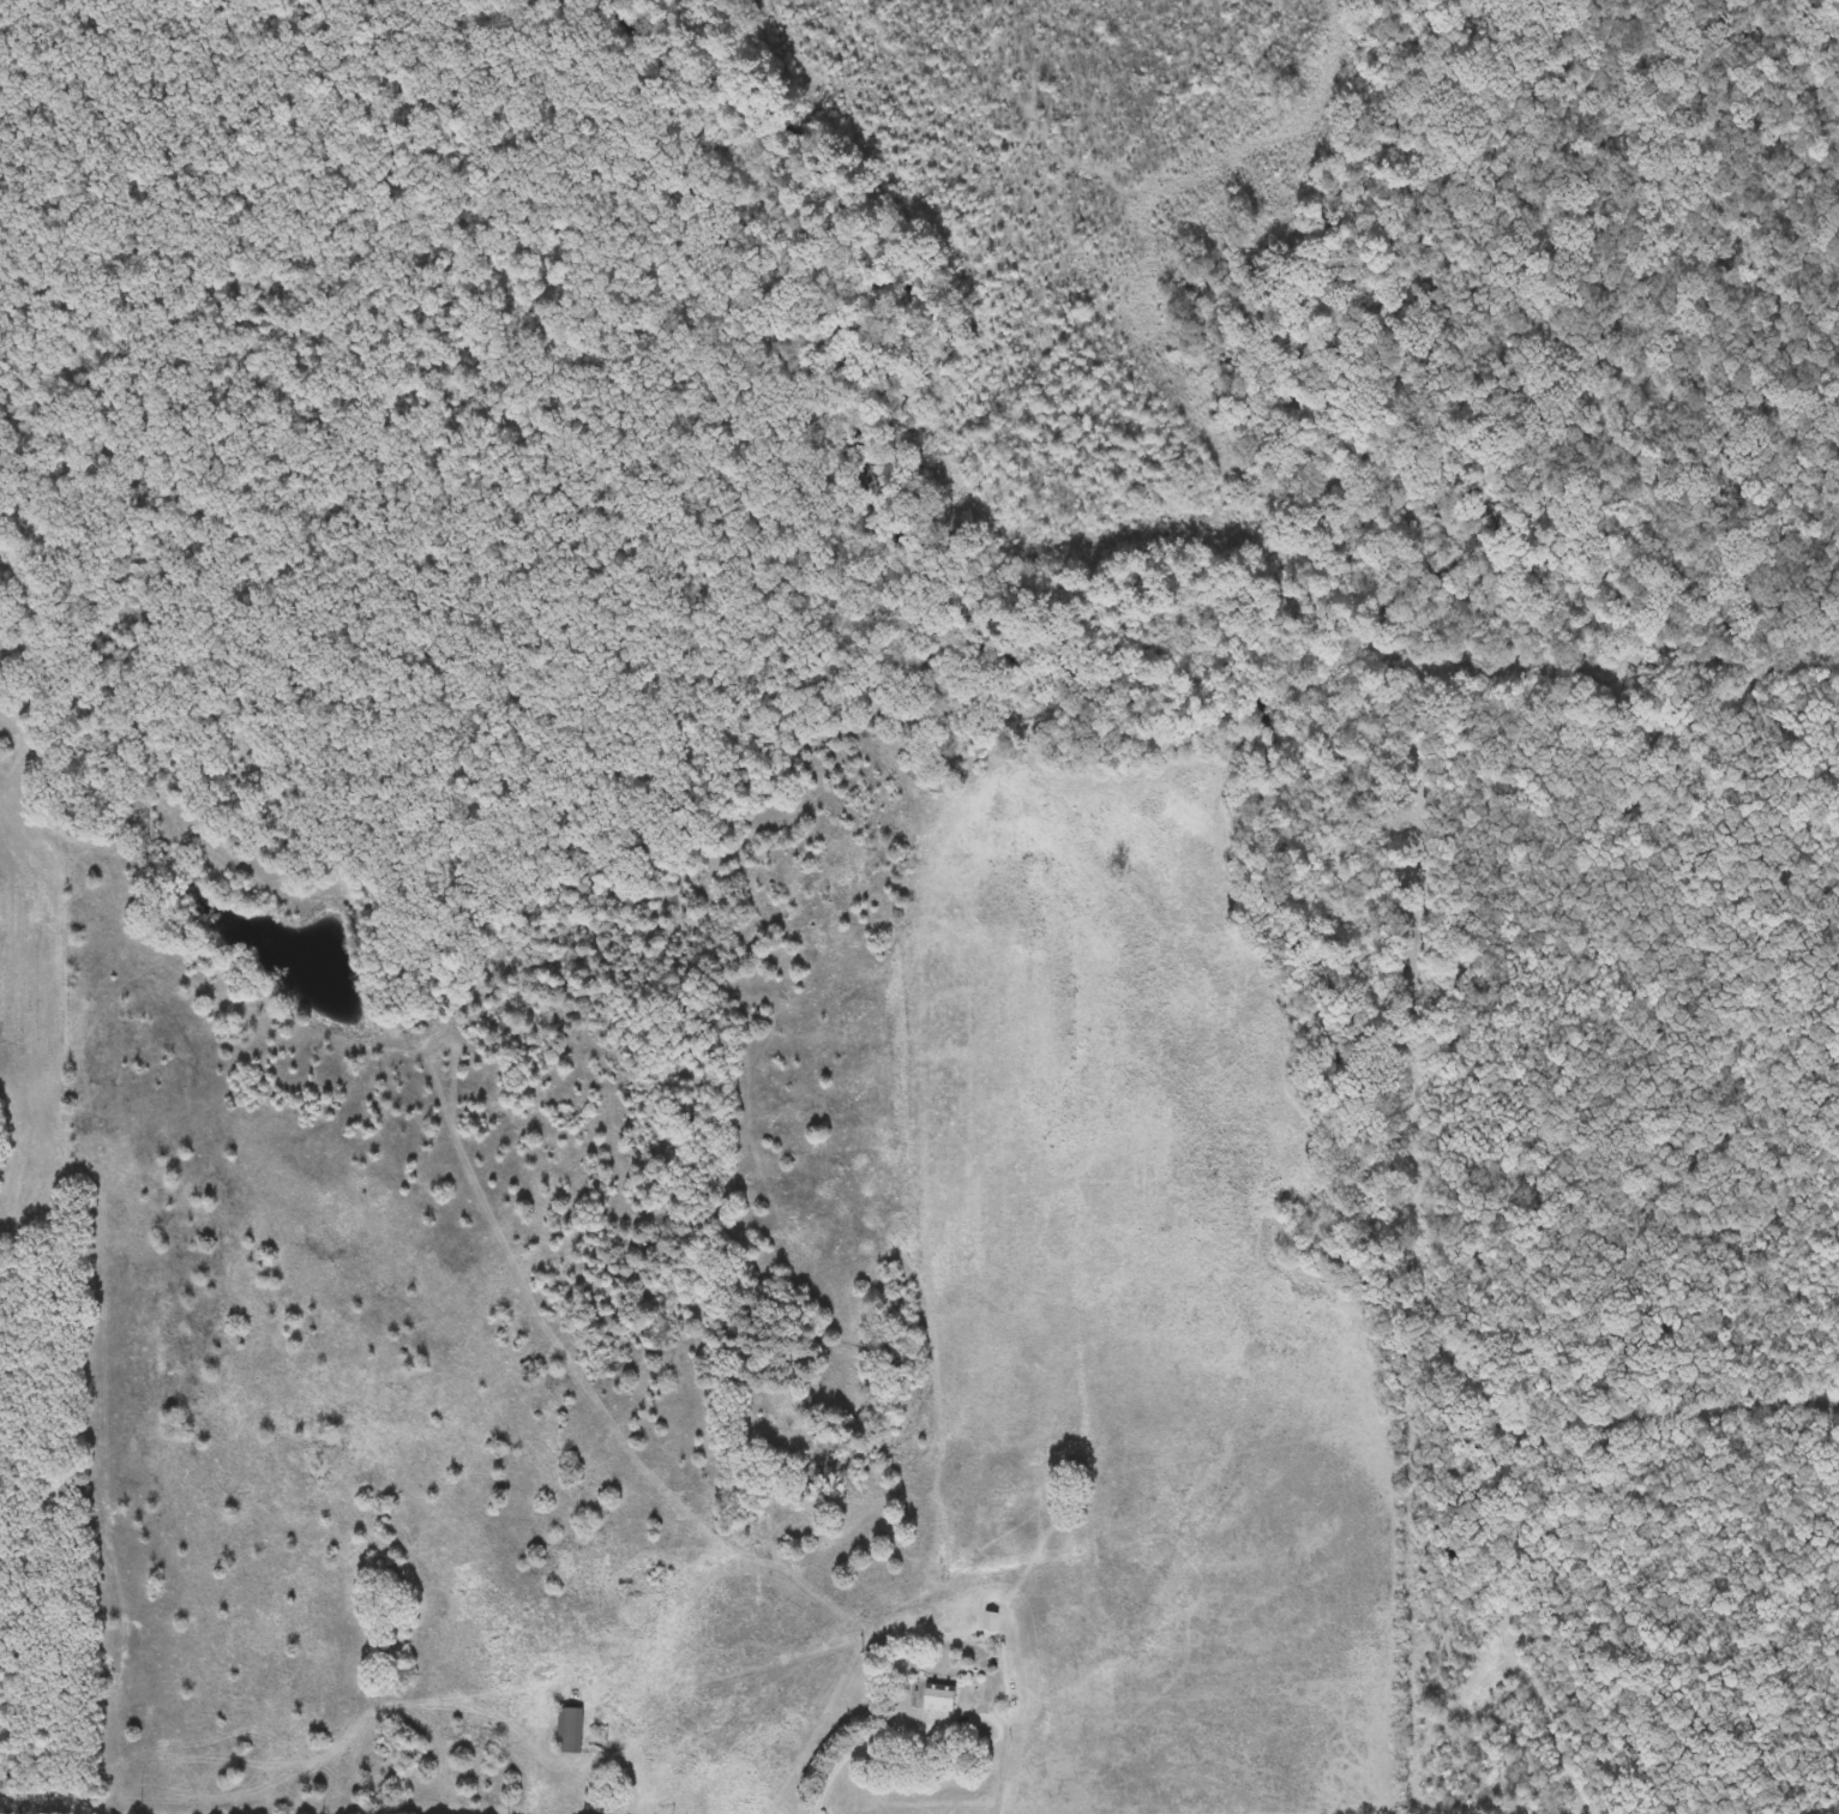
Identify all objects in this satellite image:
building: (992, 1621)
building: (940, 1698)
road: (985, 1718)
building: (572, 1730)
road: (857, 1747)

